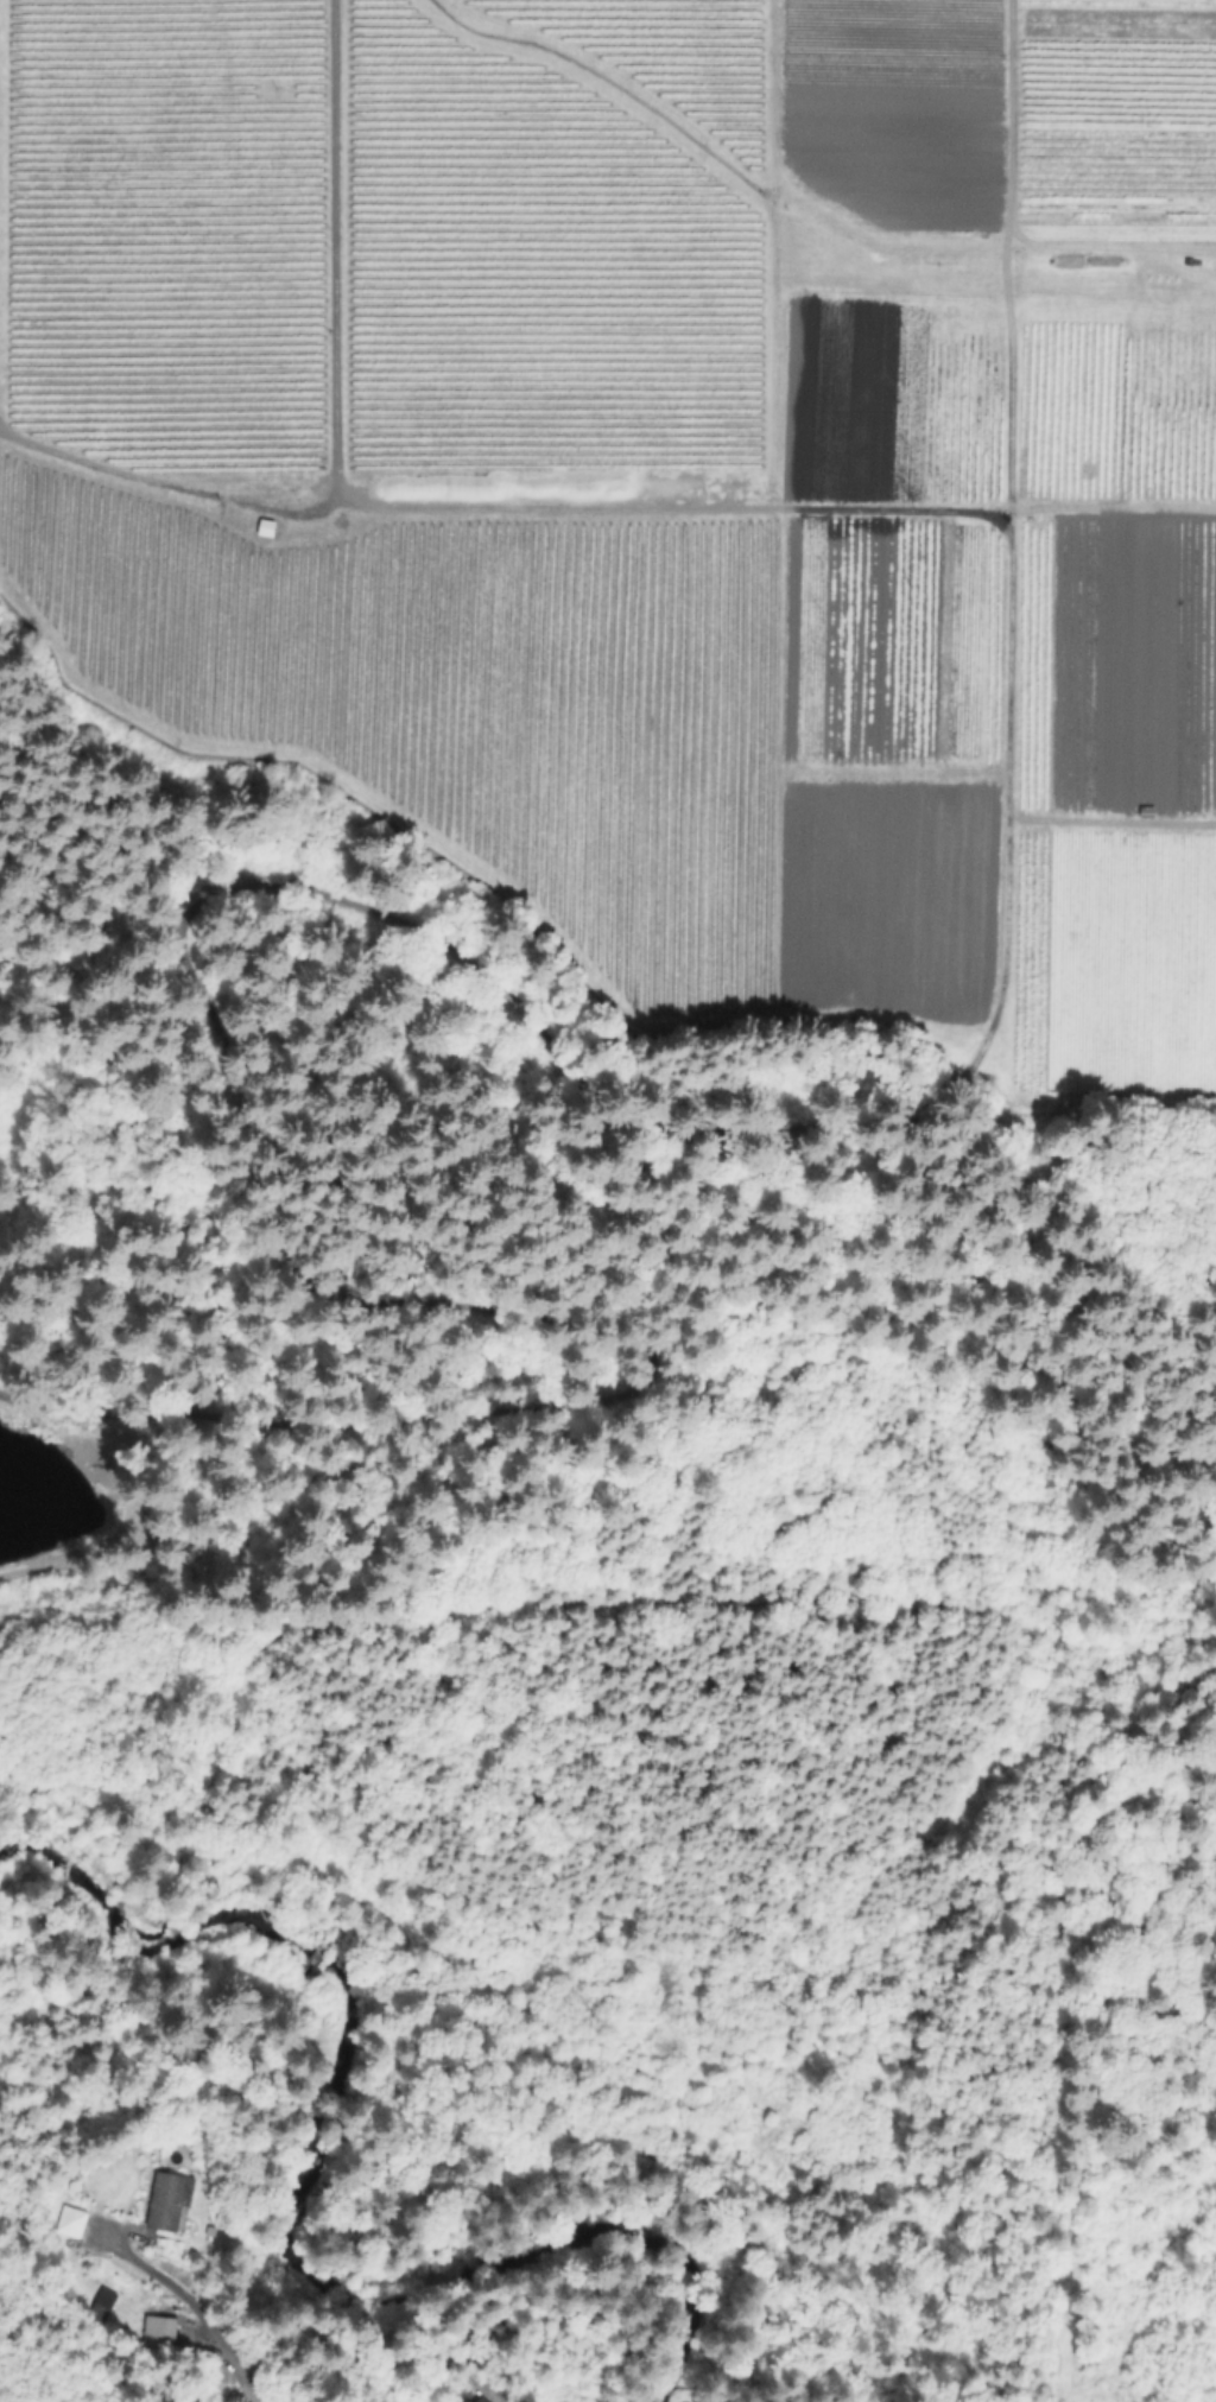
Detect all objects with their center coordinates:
building: (170, 2199)
road: (194, 2312)
building: (158, 2330)

